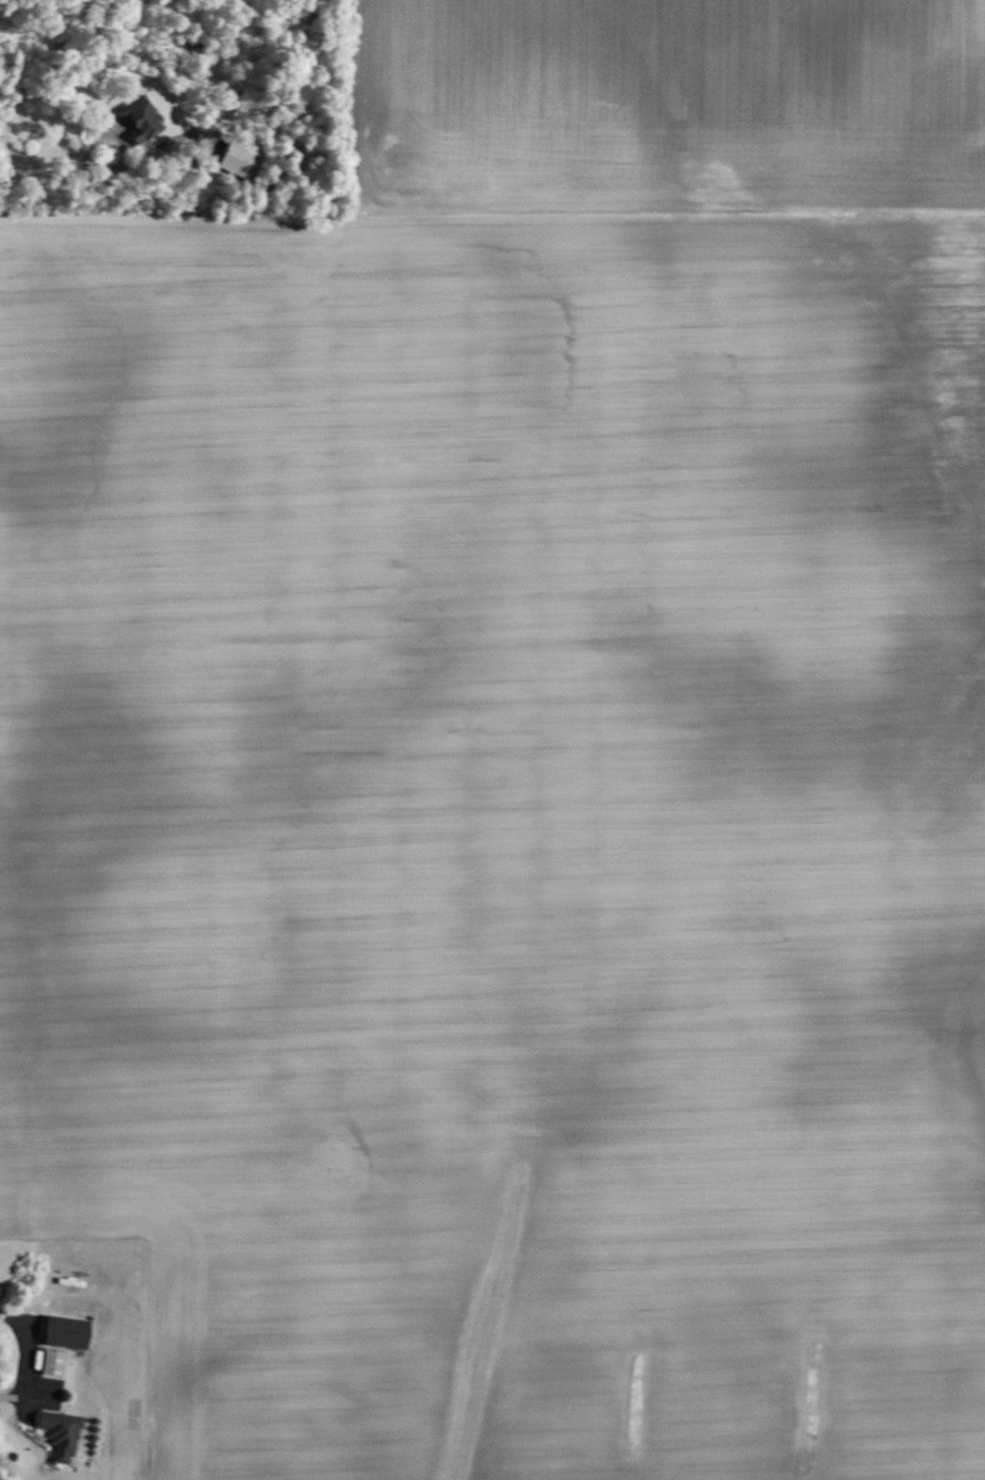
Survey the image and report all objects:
building: (142, 124)
building: (237, 160)
road: (58, 166)
building: (65, 1332)
road: (24, 1358)
building: (51, 1362)
building: (60, 1434)

